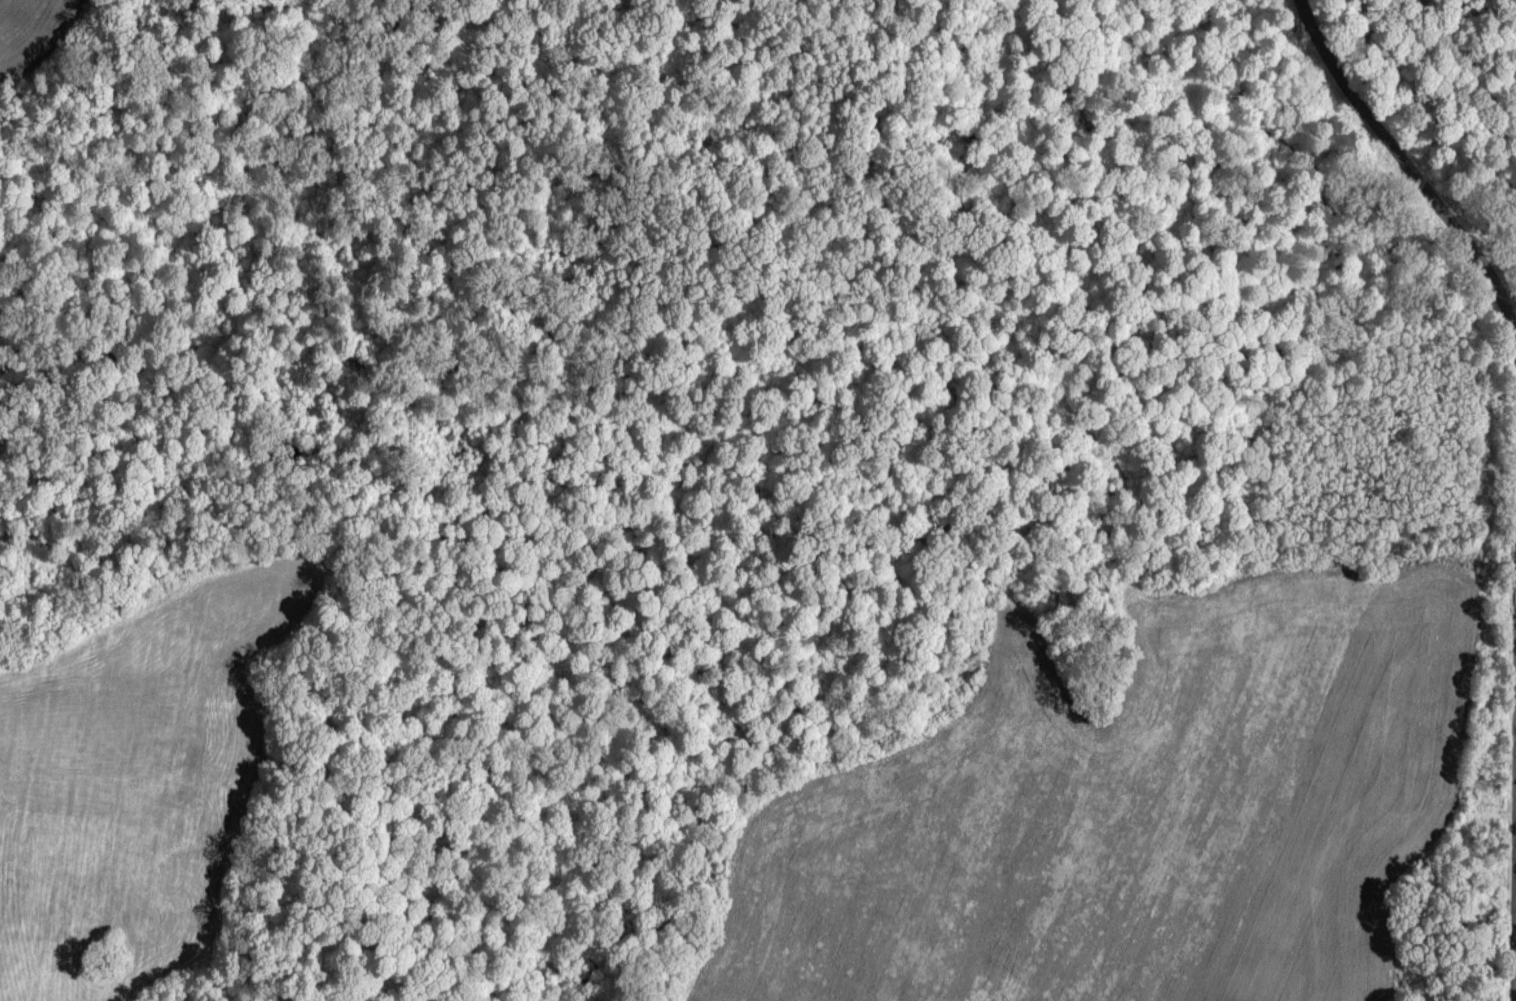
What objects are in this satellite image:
road: (1406, 168)
road: (1511, 841)

